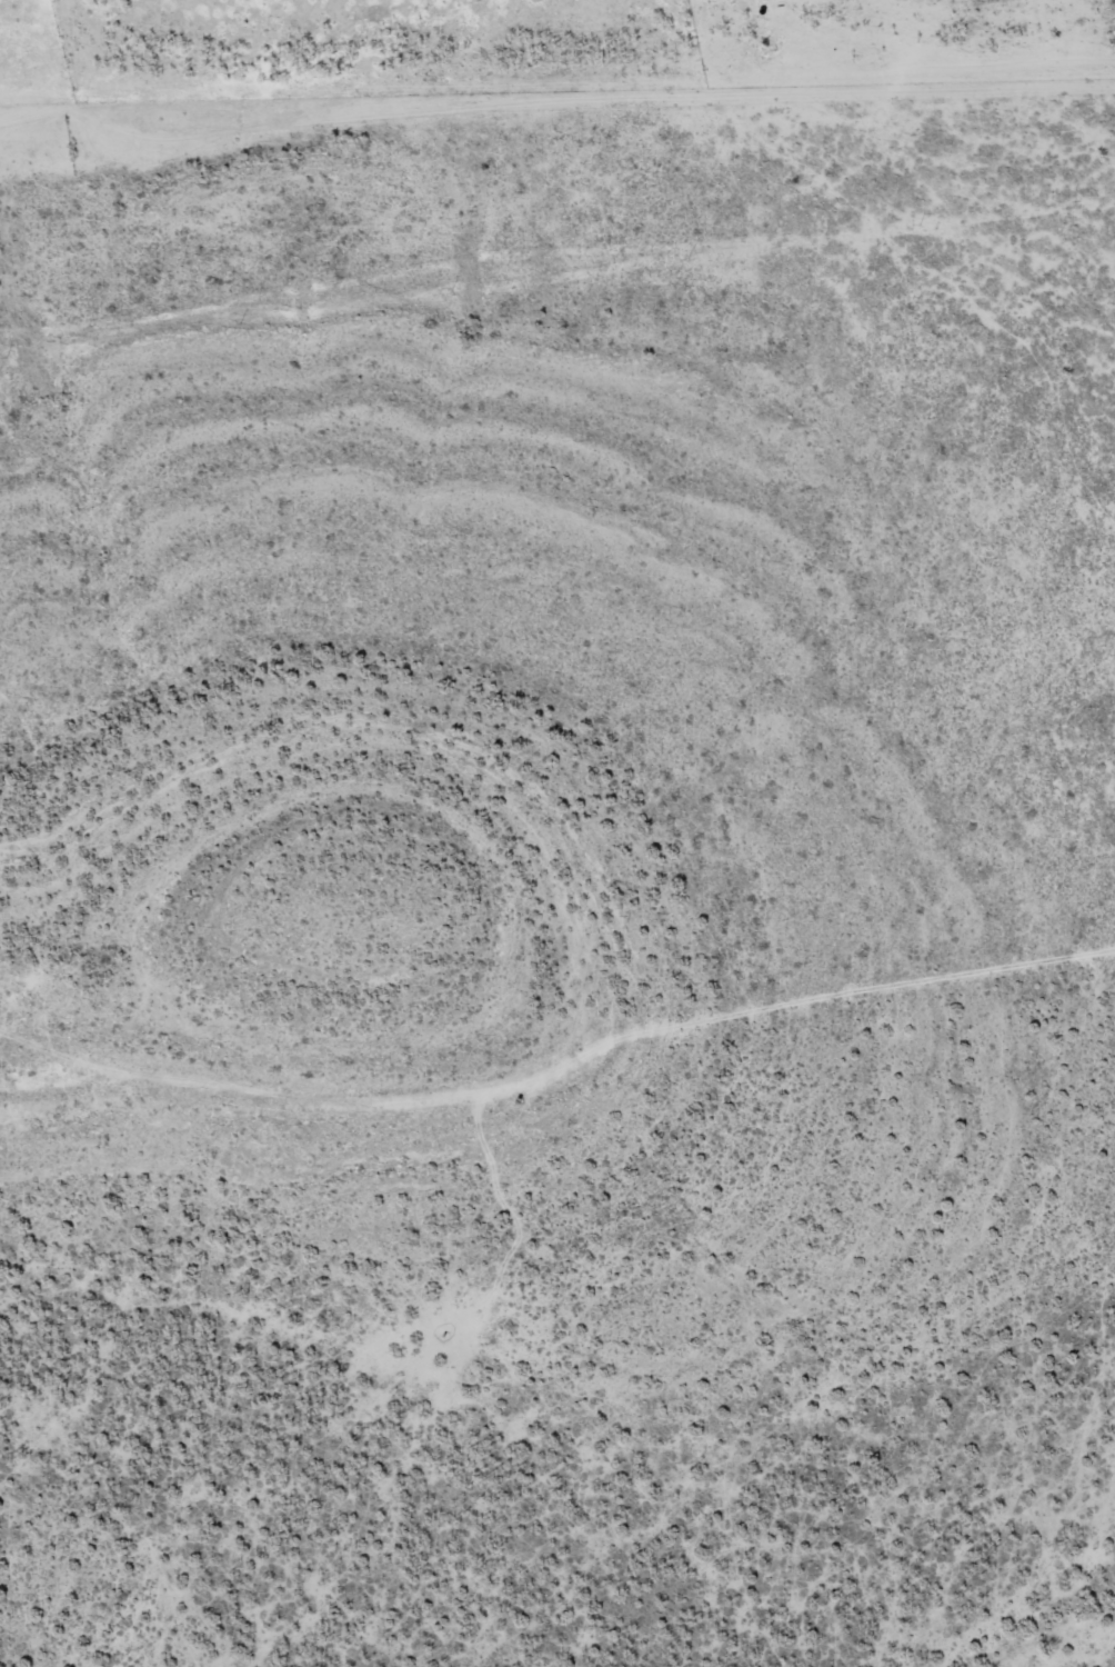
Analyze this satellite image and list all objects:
road: (557, 89)
road: (611, 1052)

